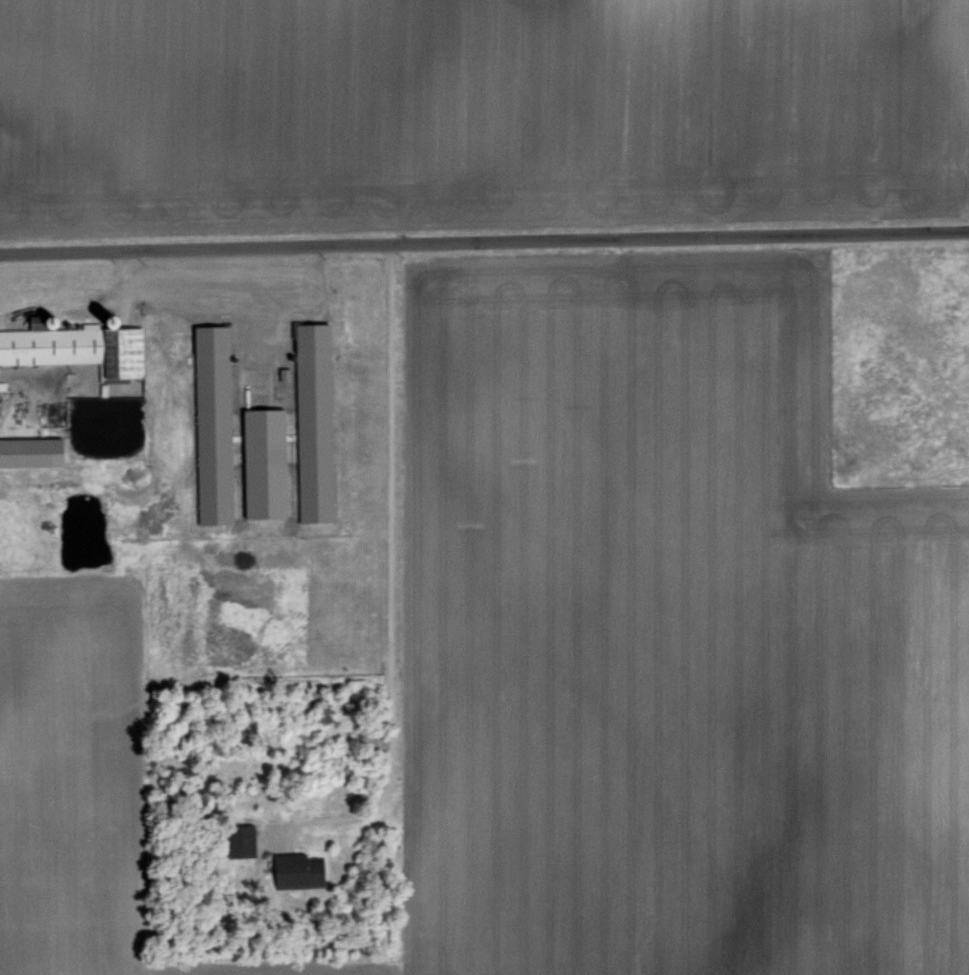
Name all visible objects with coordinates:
road: (484, 241)
building: (75, 346)
building: (281, 373)
building: (311, 421)
building: (211, 423)
building: (28, 450)
building: (261, 462)
road: (388, 576)
building: (238, 840)
building: (292, 869)

